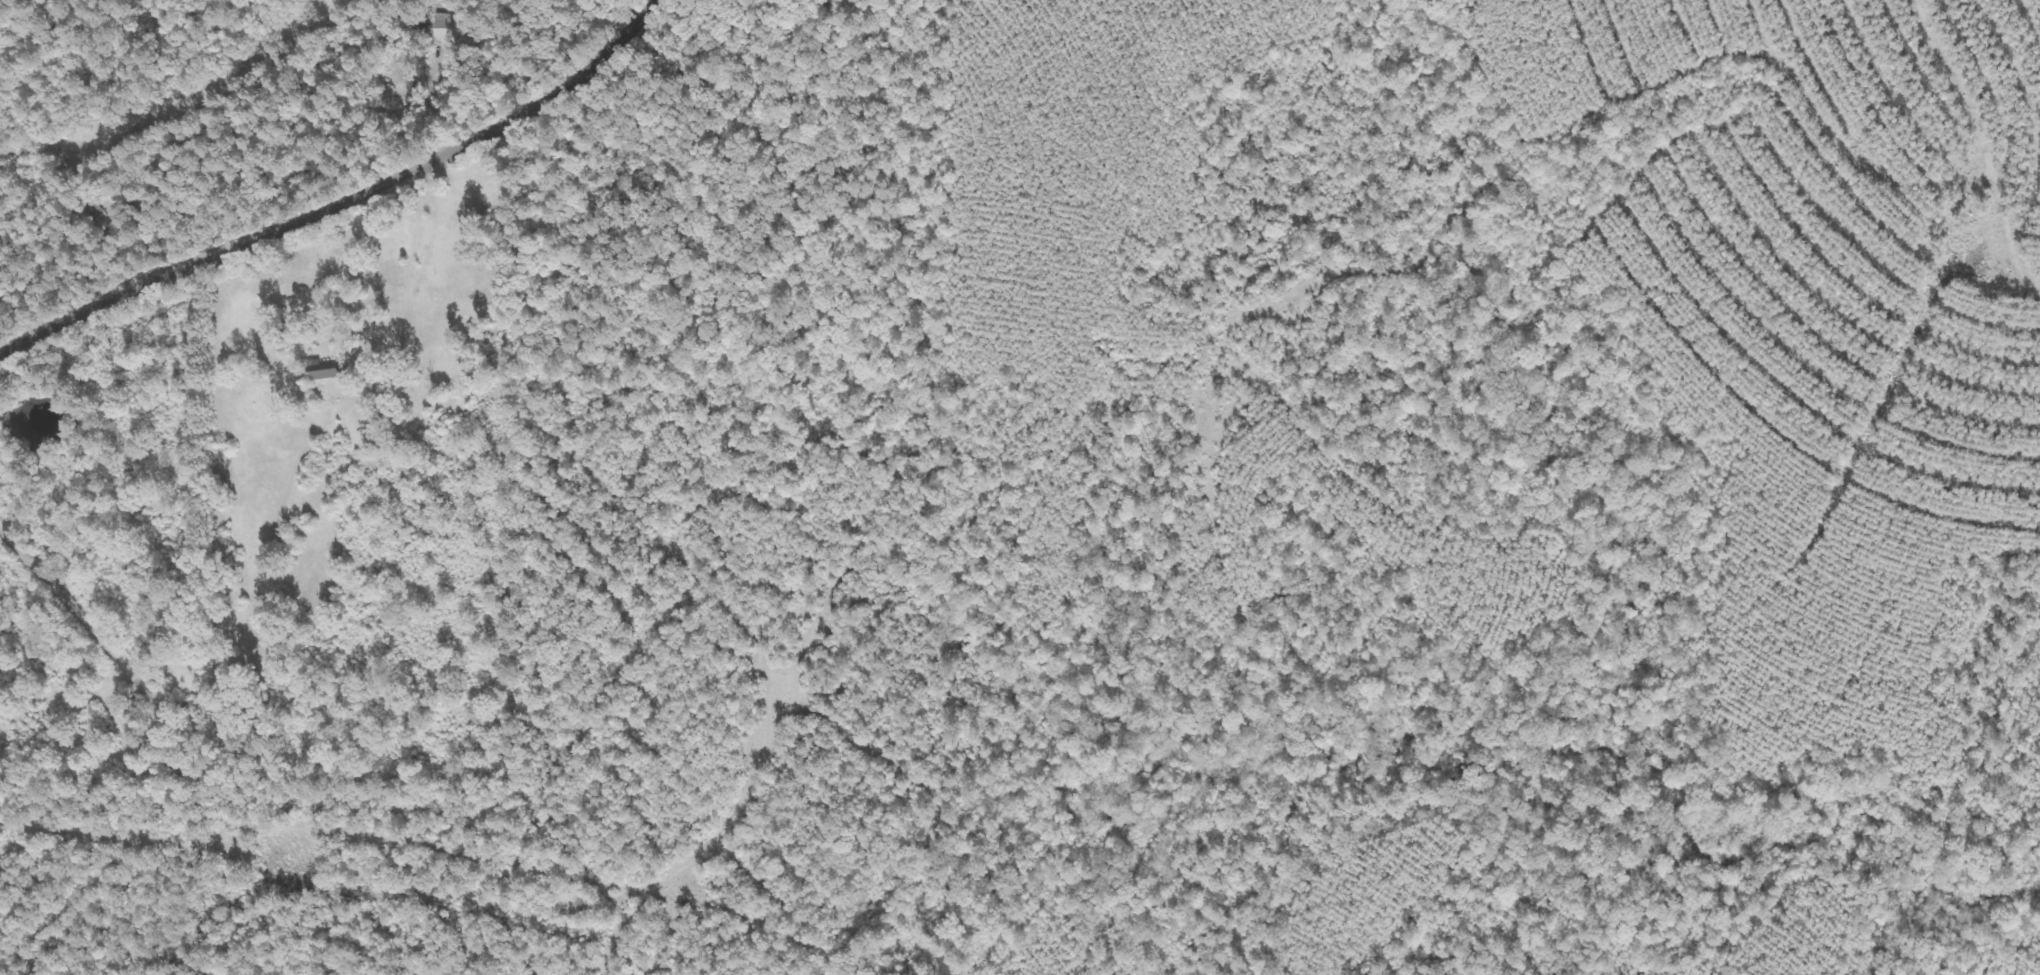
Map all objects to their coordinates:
road: (323, 207)
building: (80, 209)
building: (320, 368)
road: (315, 457)
building: (284, 546)
building: (182, 706)

